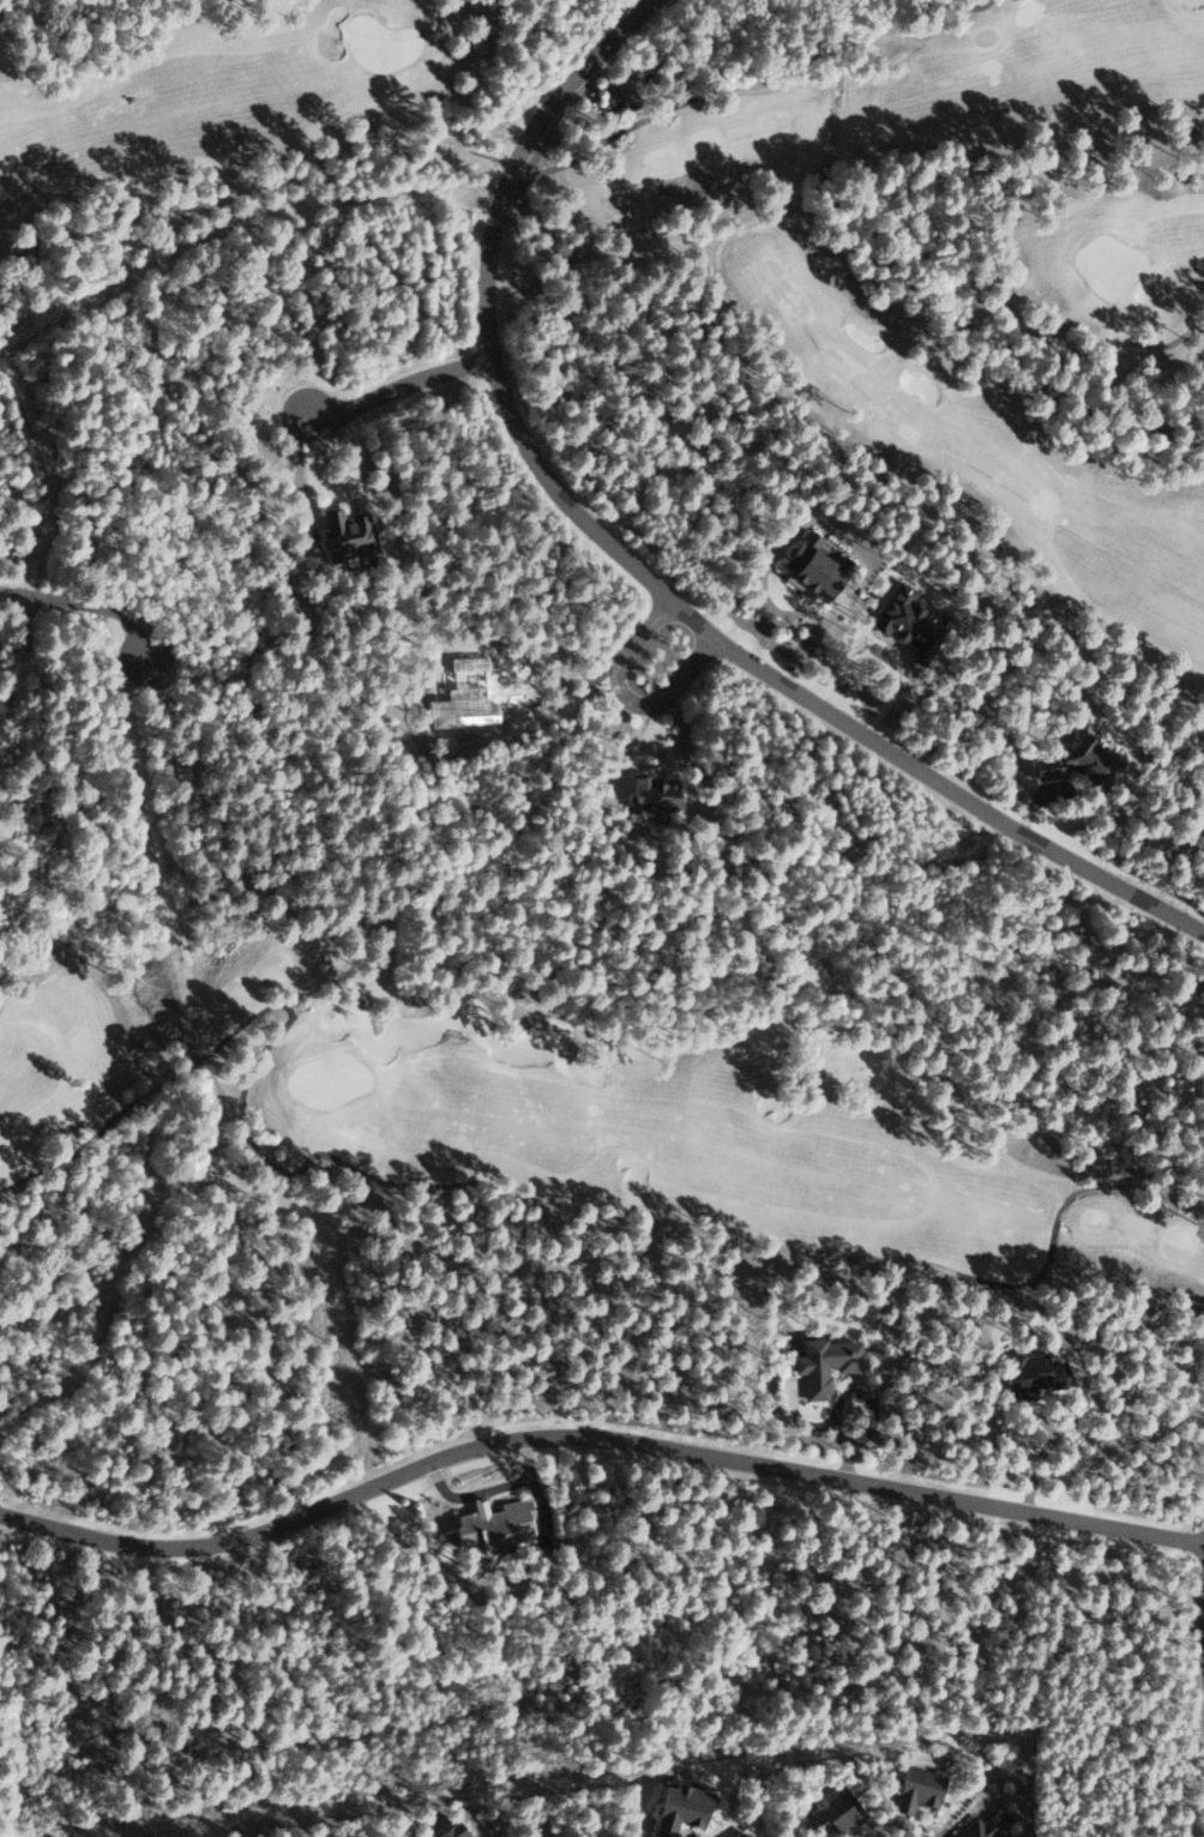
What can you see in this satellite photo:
building: (625, 86)
park: (753, 224)
road: (395, 389)
building: (343, 534)
building: (811, 566)
road: (632, 572)
building: (907, 624)
road: (621, 697)
building: (1071, 764)
building: (649, 797)
park: (559, 1114)
building: (821, 1362)
building: (1027, 1374)
road: (594, 1441)
building: (500, 1524)
road: (1200, 1637)
building: (915, 1789)
building: (675, 1808)
building: (831, 1812)
building: (974, 1827)
building: (444, 1831)
building: (738, 1835)

